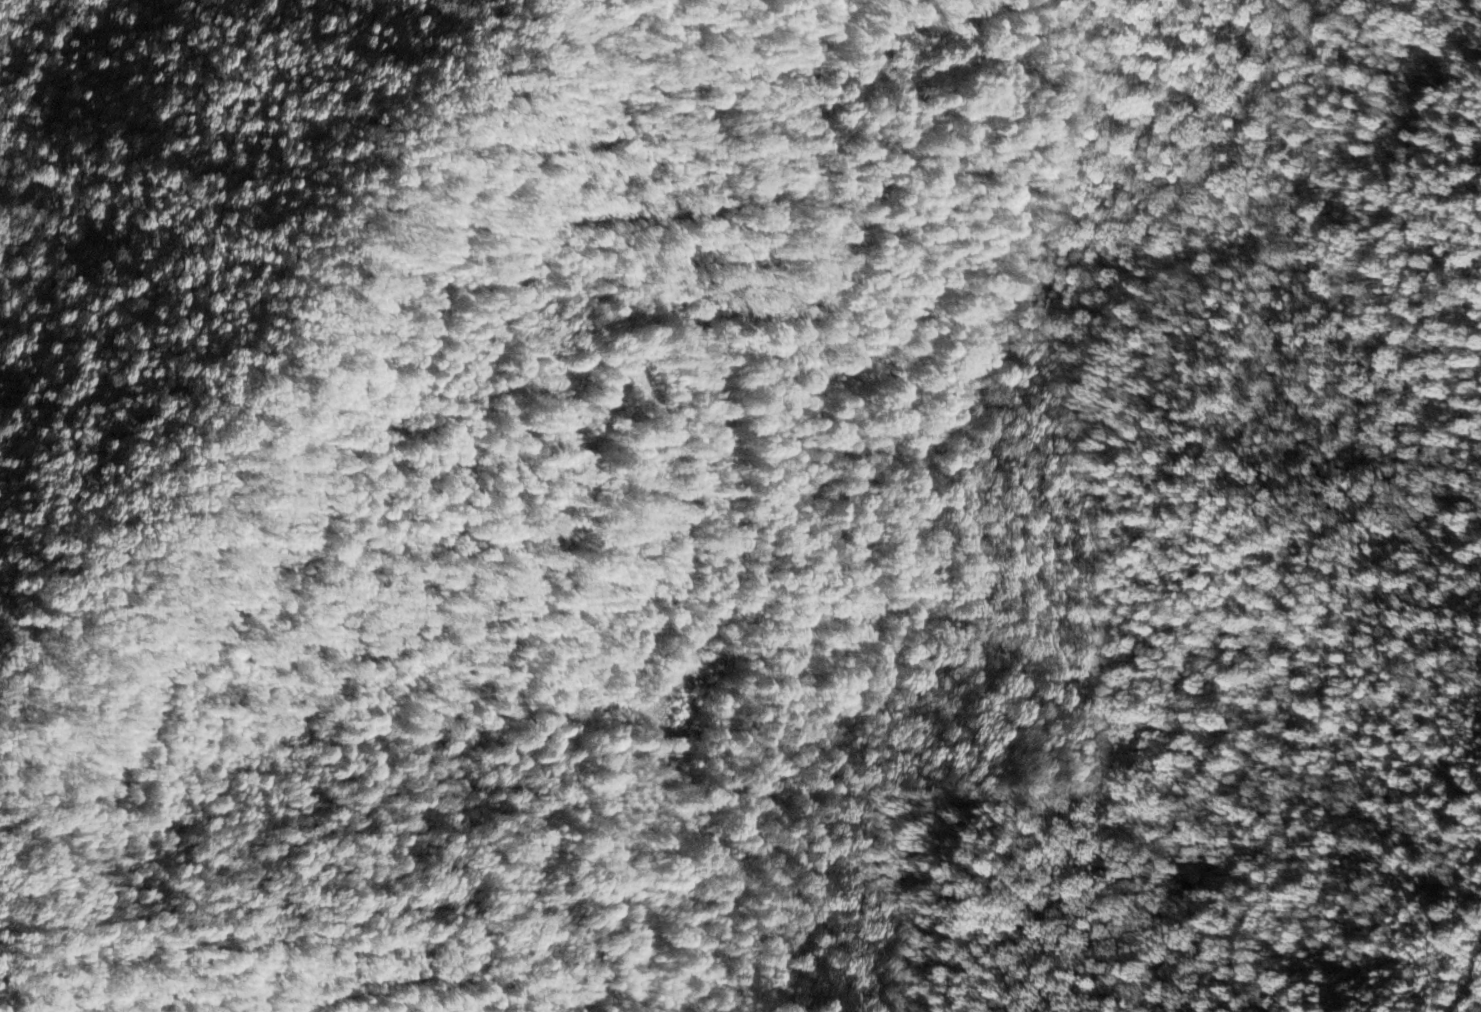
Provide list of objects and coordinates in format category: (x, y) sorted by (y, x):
road: (1470, 986)

